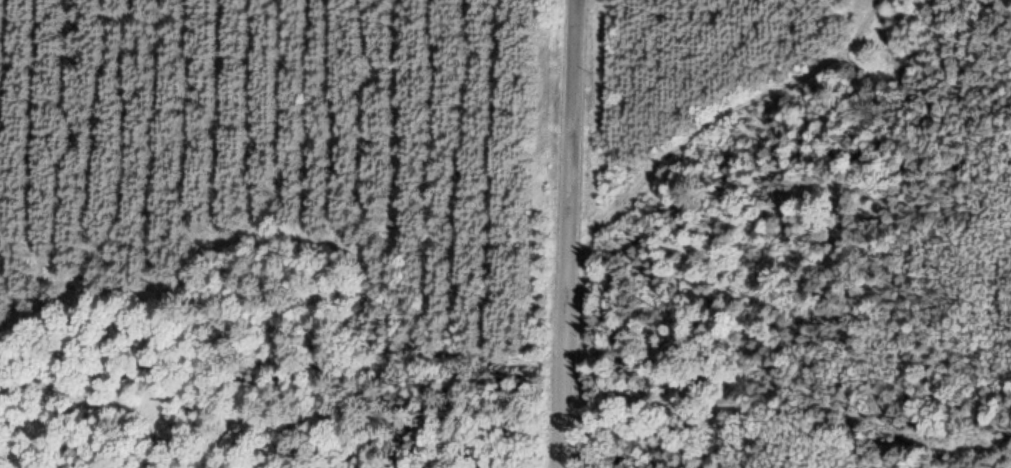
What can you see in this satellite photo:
road: (565, 233)

